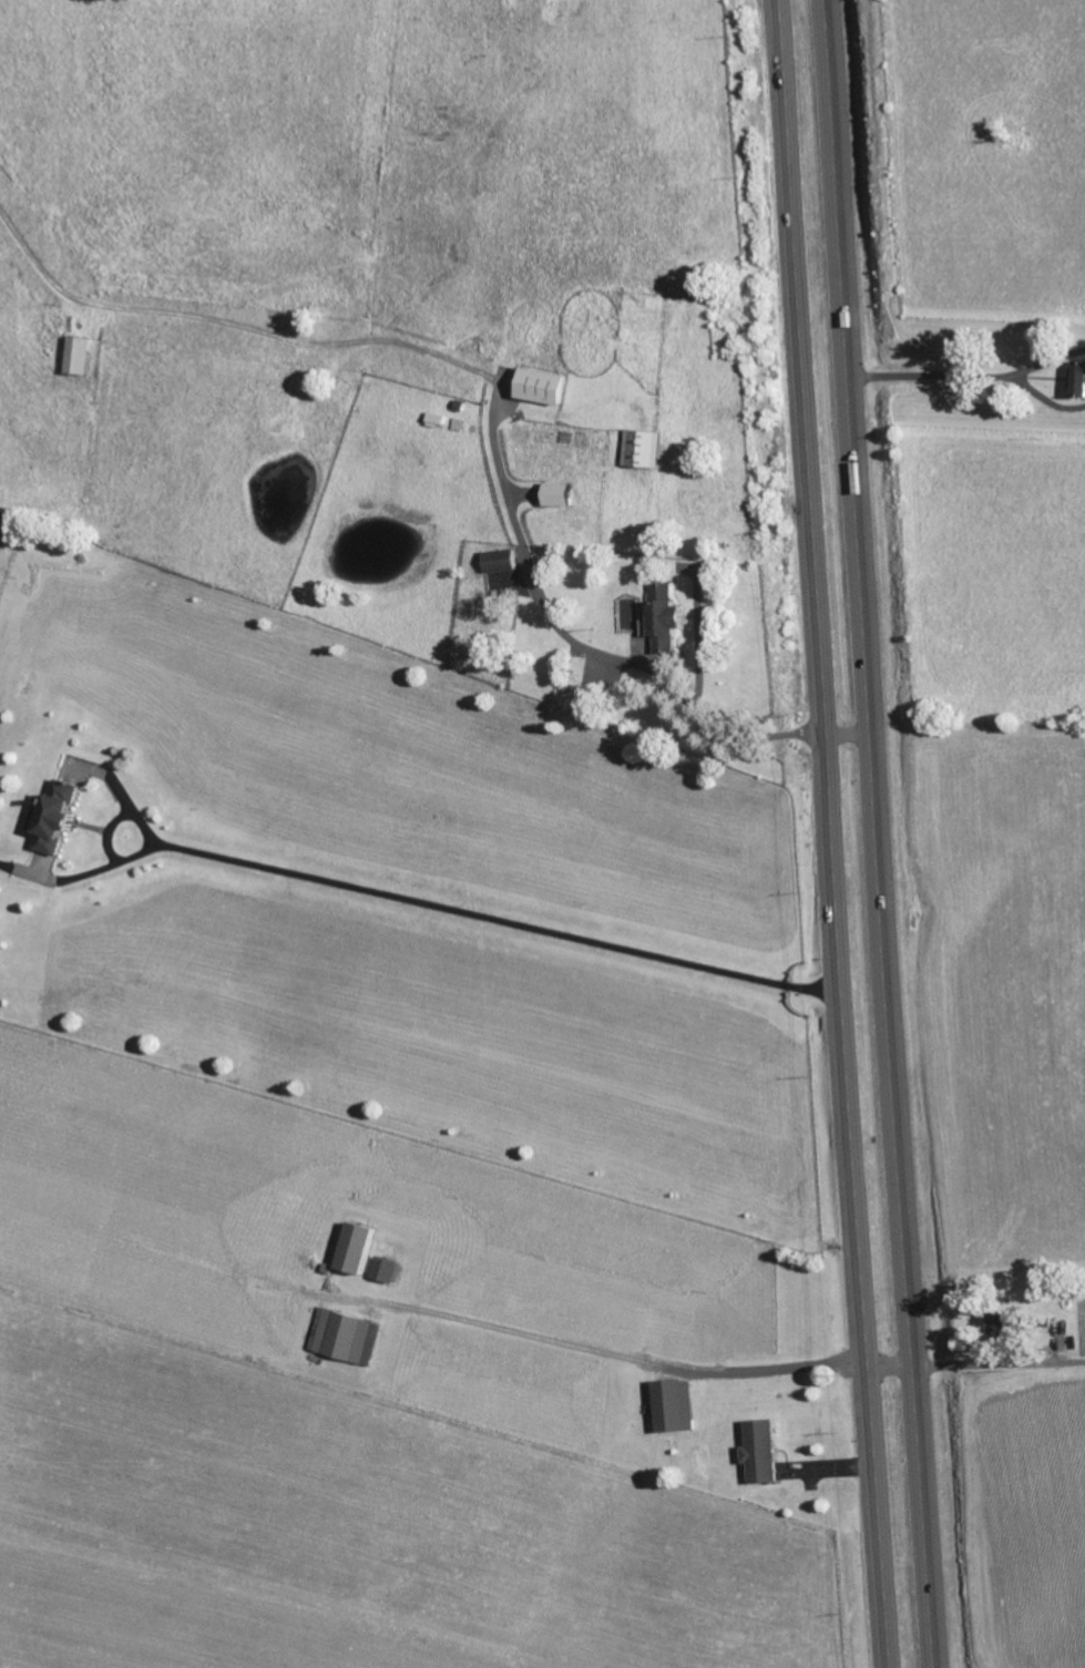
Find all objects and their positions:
road: (235, 327)
building: (79, 358)
road: (1046, 362)
road: (929, 379)
building: (1078, 380)
building: (547, 389)
road: (1045, 399)
building: (647, 451)
building: (563, 497)
building: (503, 561)
building: (668, 620)
road: (577, 644)
road: (848, 734)
building: (60, 818)
road: (831, 833)
road: (878, 833)
building: (362, 1248)
building: (390, 1270)
building: (1006, 1324)
building: (350, 1338)
road: (643, 1361)
building: (676, 1406)
building: (765, 1452)

